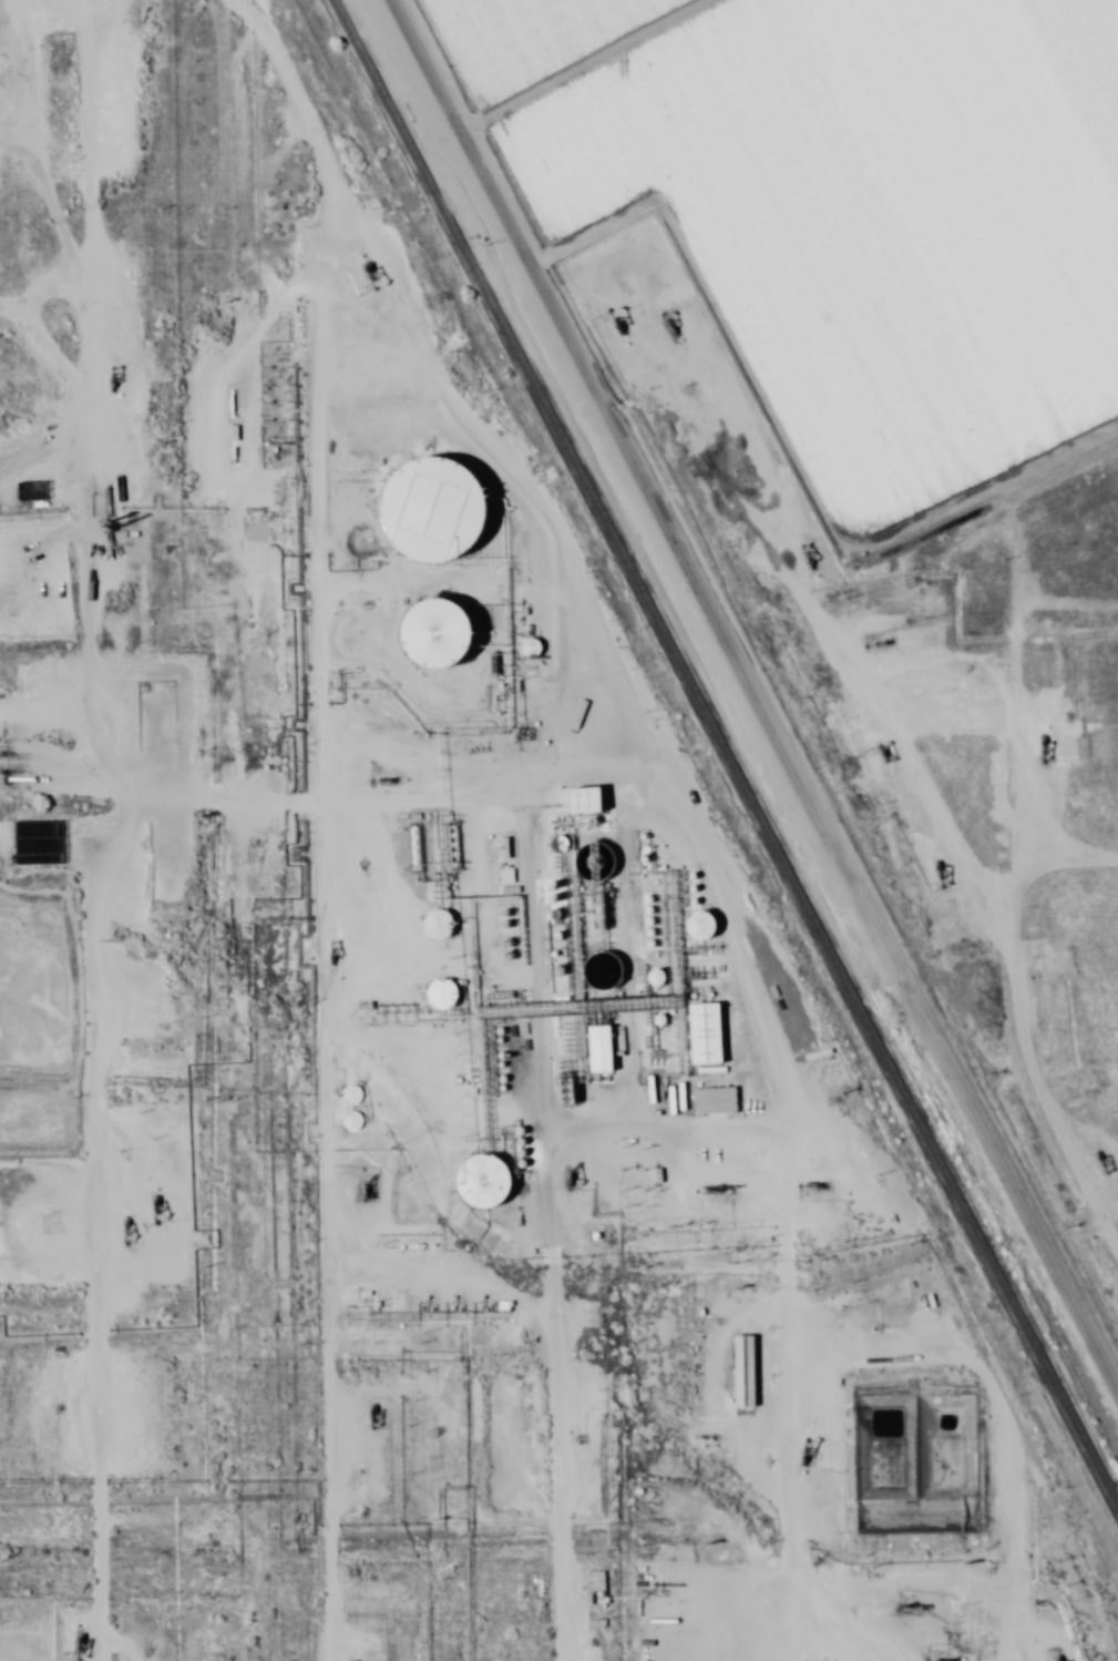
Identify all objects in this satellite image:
road: (1085, 39)
road: (612, 63)
crop: (833, 198)
building: (432, 513)
road: (457, 575)
building: (435, 653)
road: (1020, 662)
road: (758, 699)
railway: (721, 755)
building: (564, 803)
road: (315, 812)
road: (89, 829)
road: (983, 873)
building: (506, 879)
road: (668, 939)
building: (701, 1036)
building: (596, 1051)
building: (714, 1102)
road: (541, 1243)
building: (742, 1374)
road: (902, 1413)

